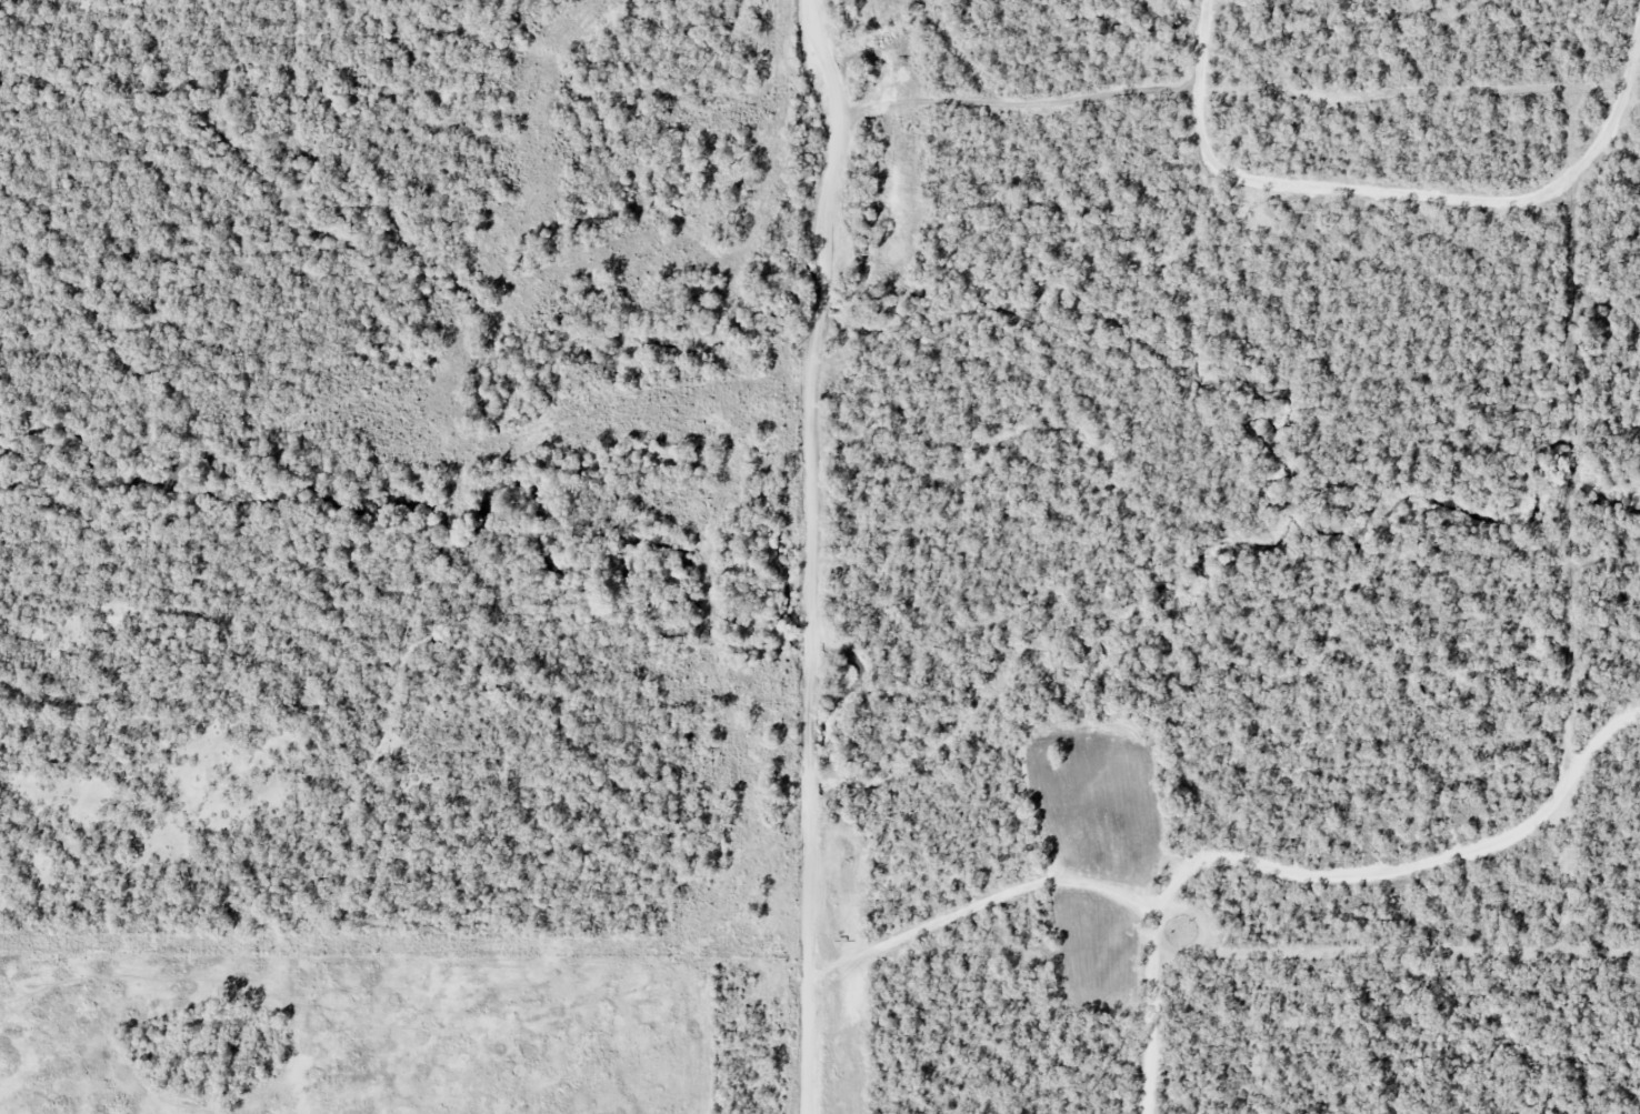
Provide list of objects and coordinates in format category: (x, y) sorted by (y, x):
road: (1388, 195)
road: (1317, 876)

